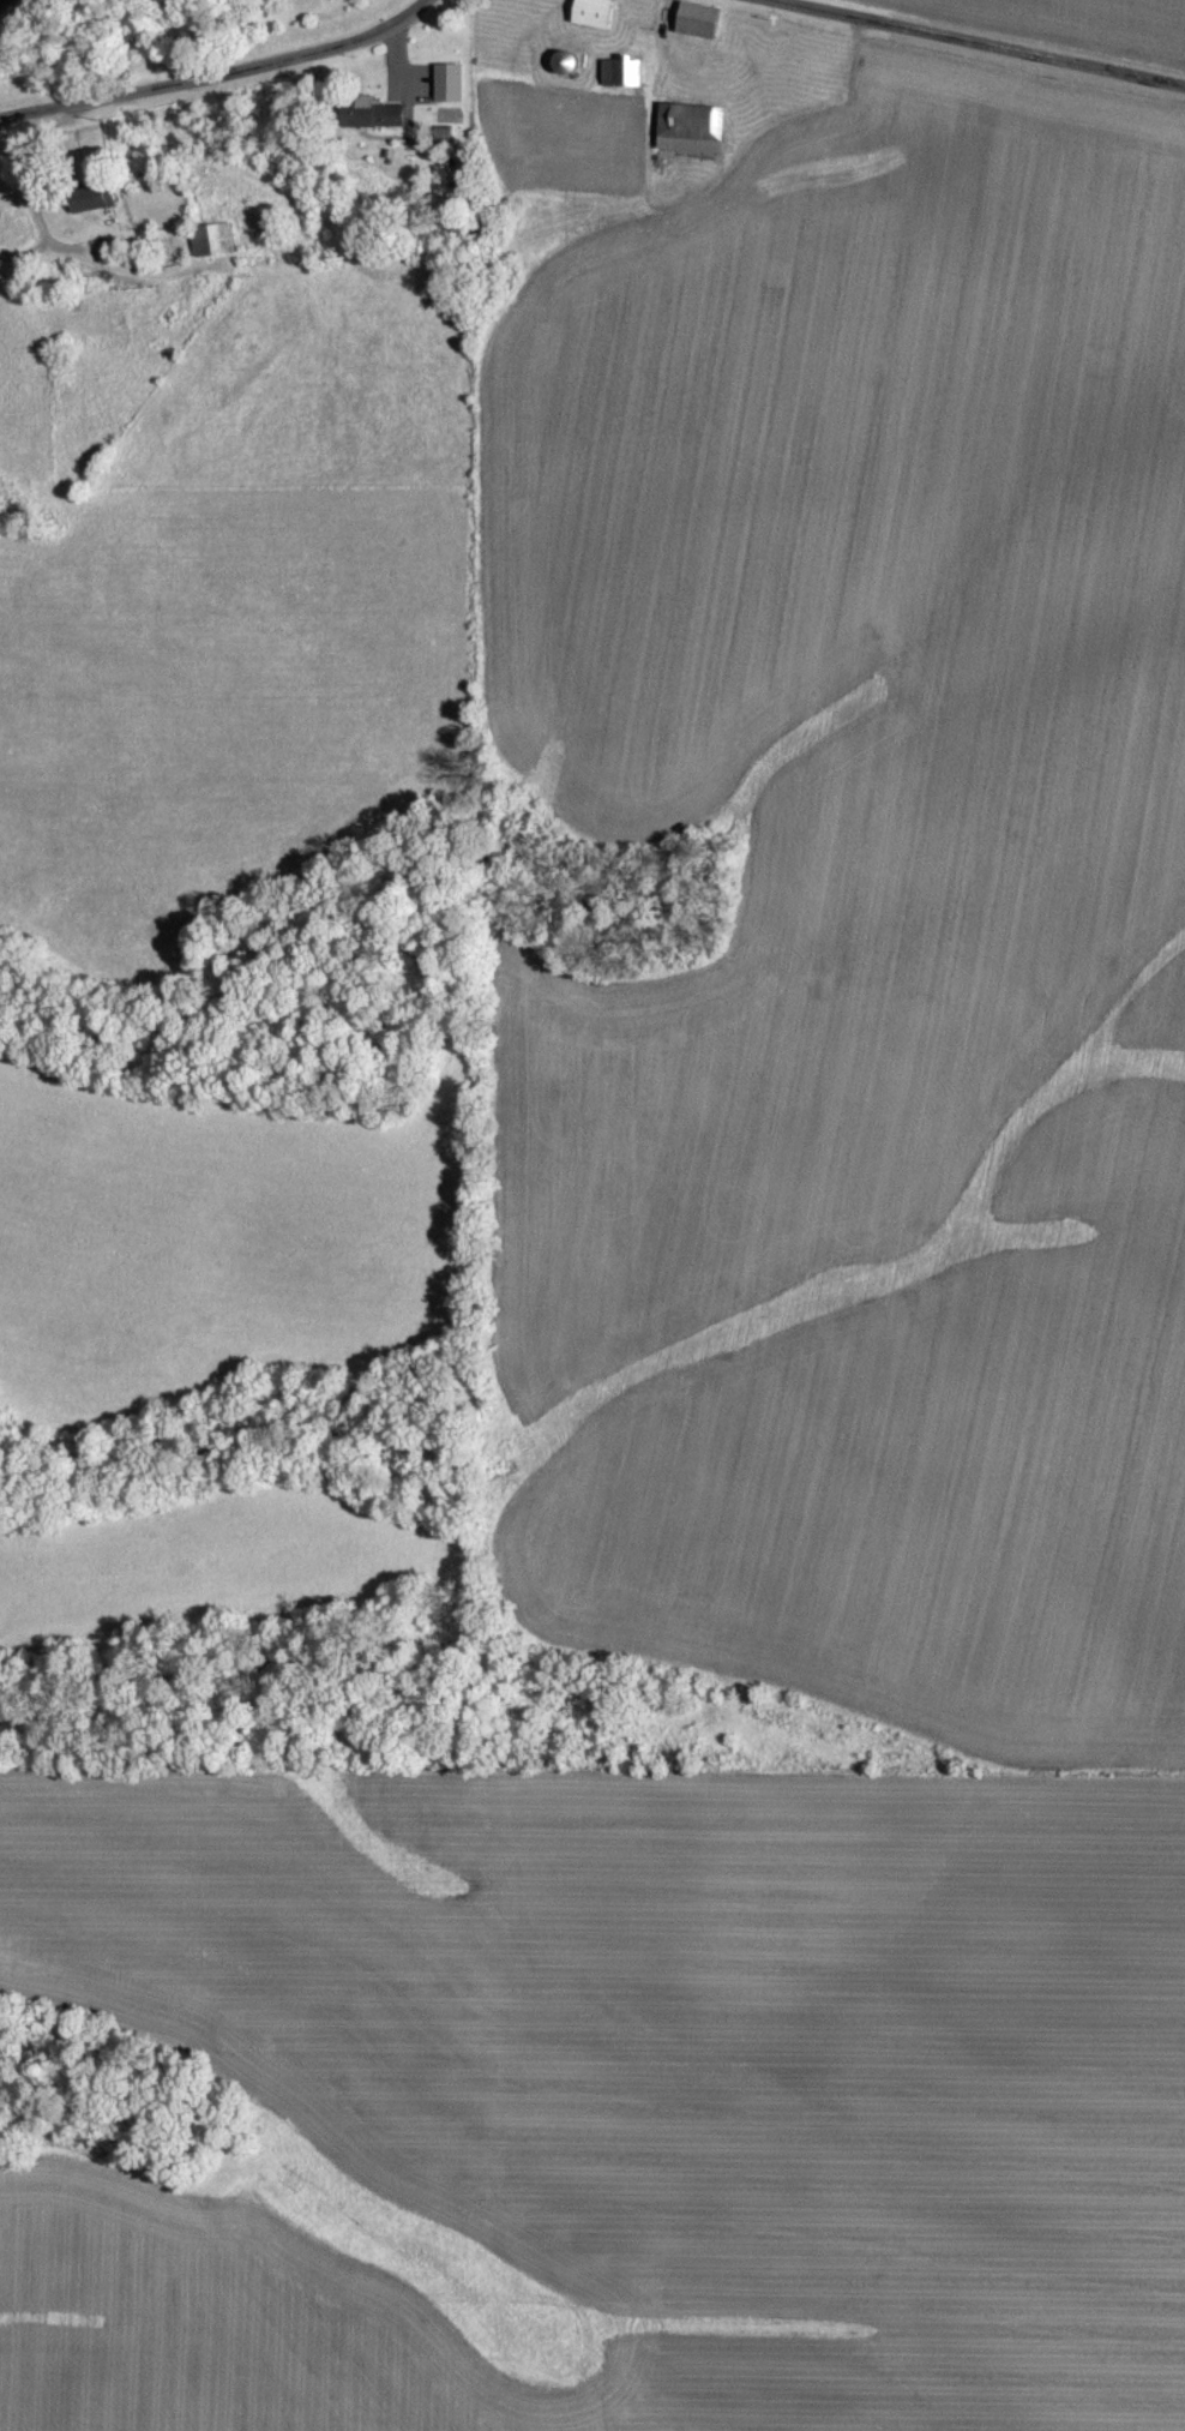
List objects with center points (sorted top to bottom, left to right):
building: (590, 13)
building: (694, 20)
road: (985, 42)
building: (618, 72)
road: (218, 73)
building: (445, 83)
building: (367, 114)
building: (686, 128)
building: (439, 134)
building: (86, 198)
building: (210, 240)

